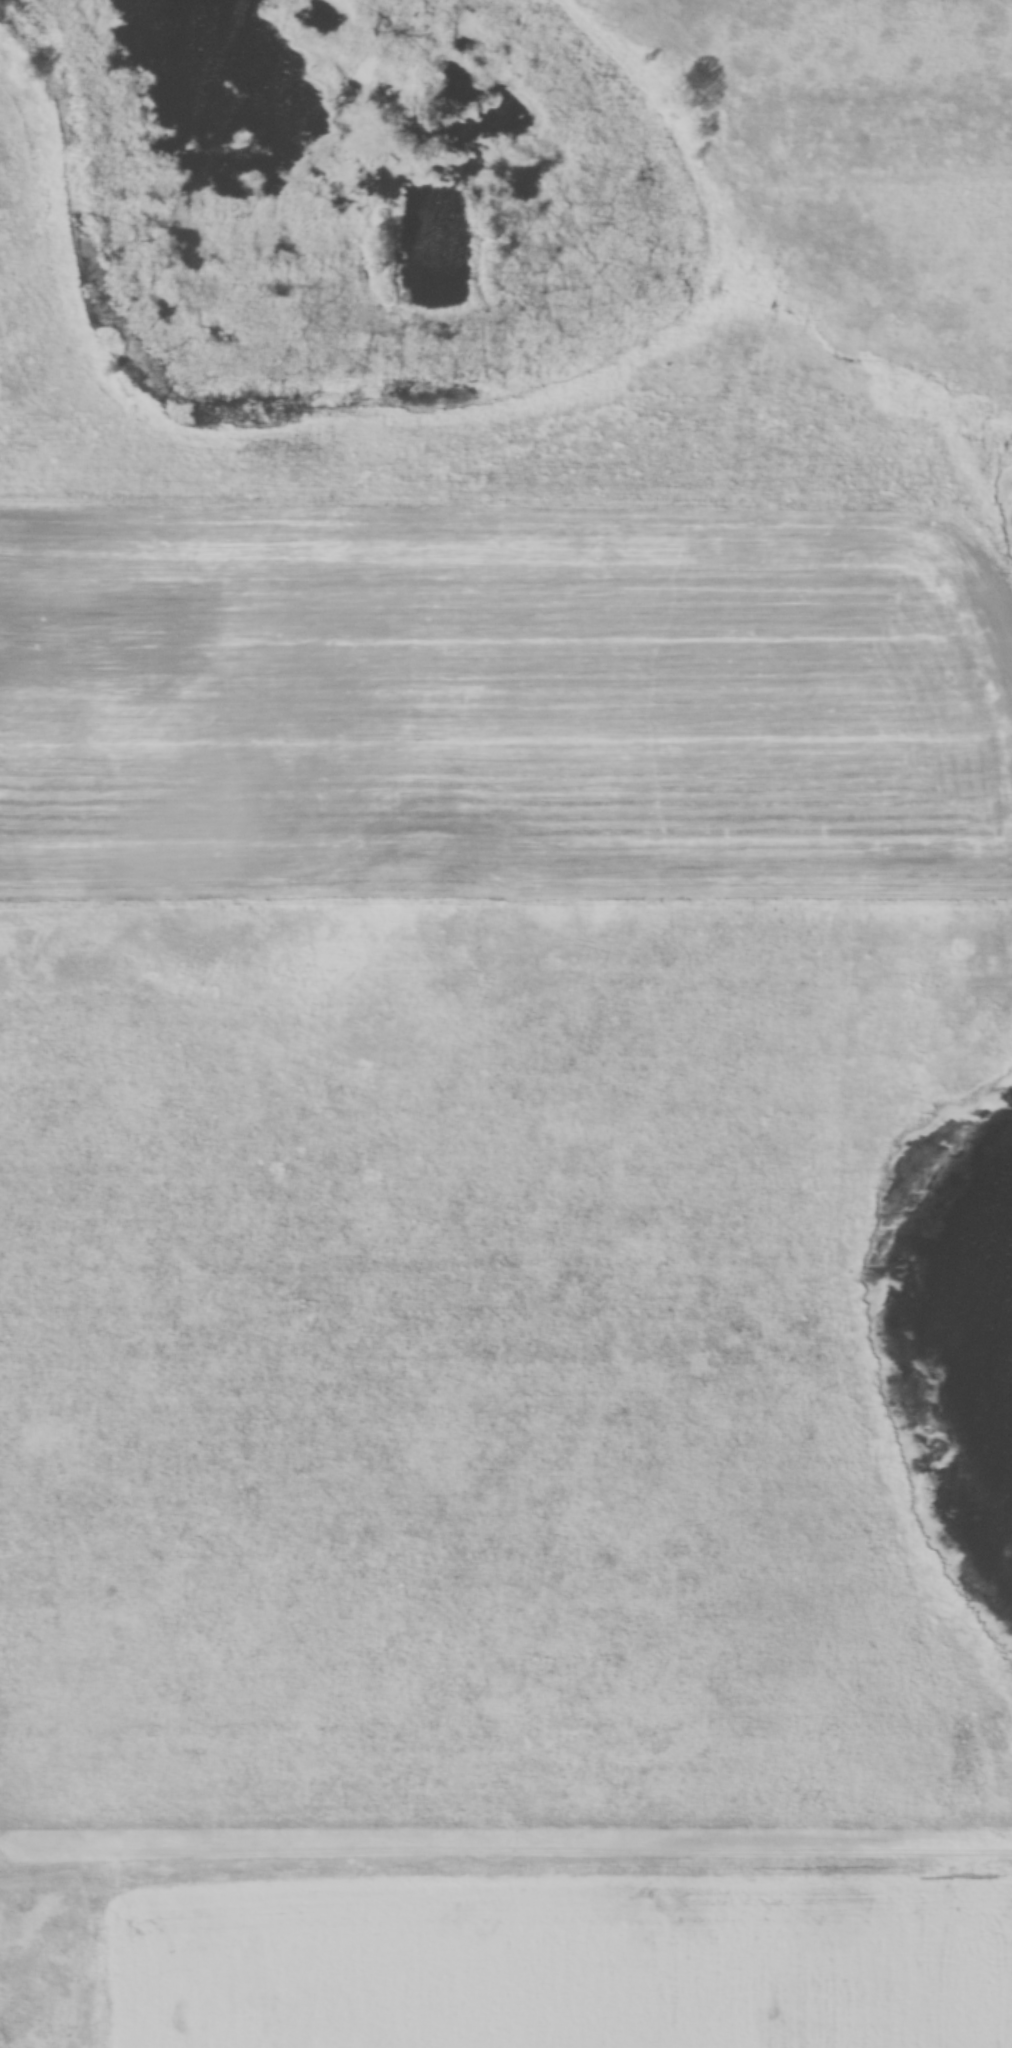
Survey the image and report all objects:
road: (505, 1869)

